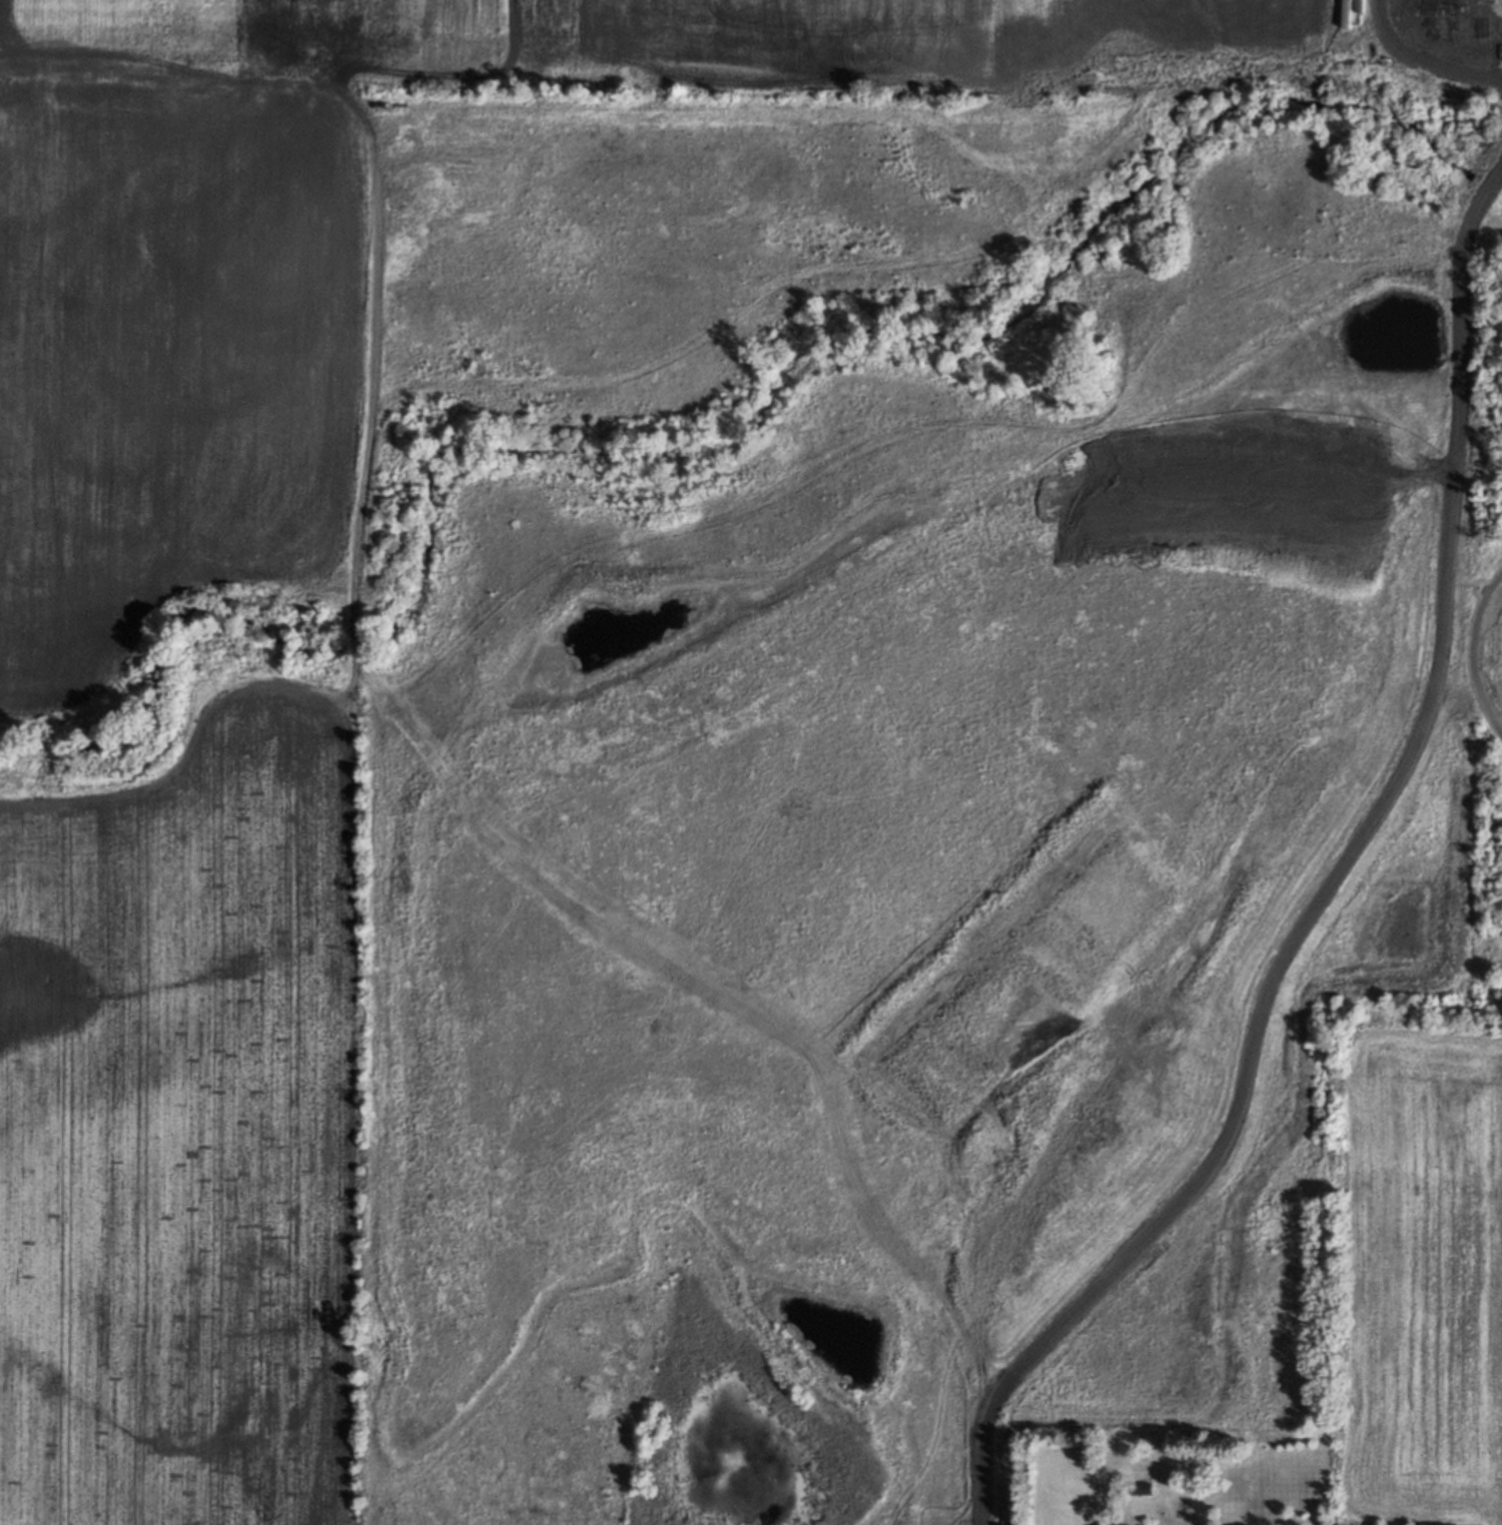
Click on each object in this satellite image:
road: (1435, 69)
road: (1472, 653)
crop: (268, 665)
park: (902, 760)
road: (1327, 882)
crop: (1415, 1268)
building: (1139, 1488)

